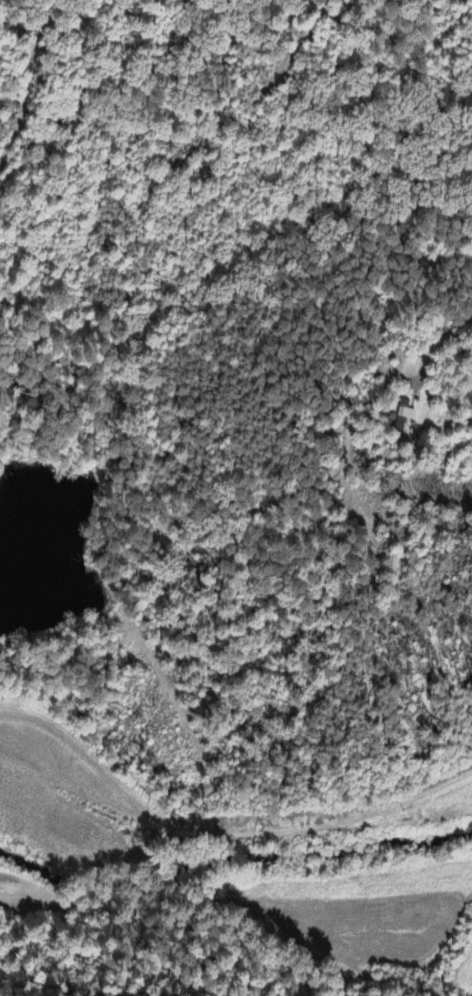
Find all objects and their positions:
road: (445, 339)
road: (309, 744)
road: (222, 829)

